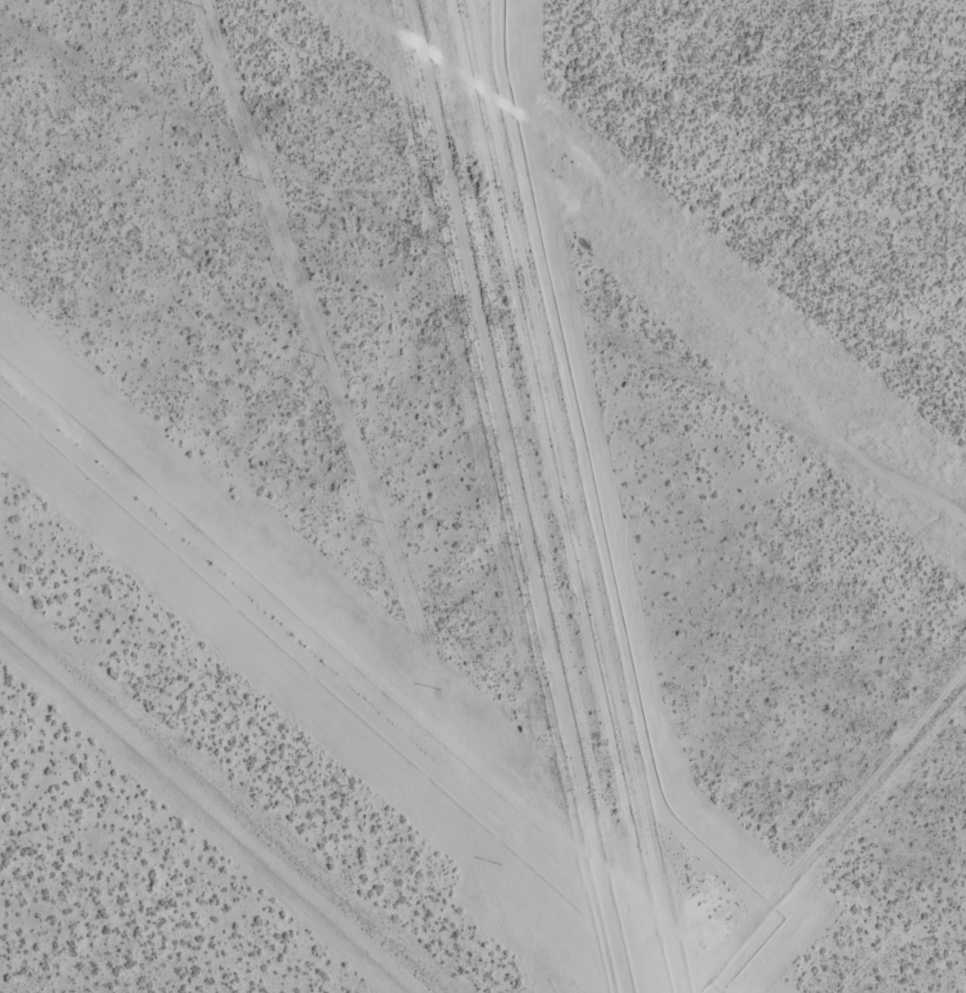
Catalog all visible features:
power tower: (561, 168)
road: (483, 282)

